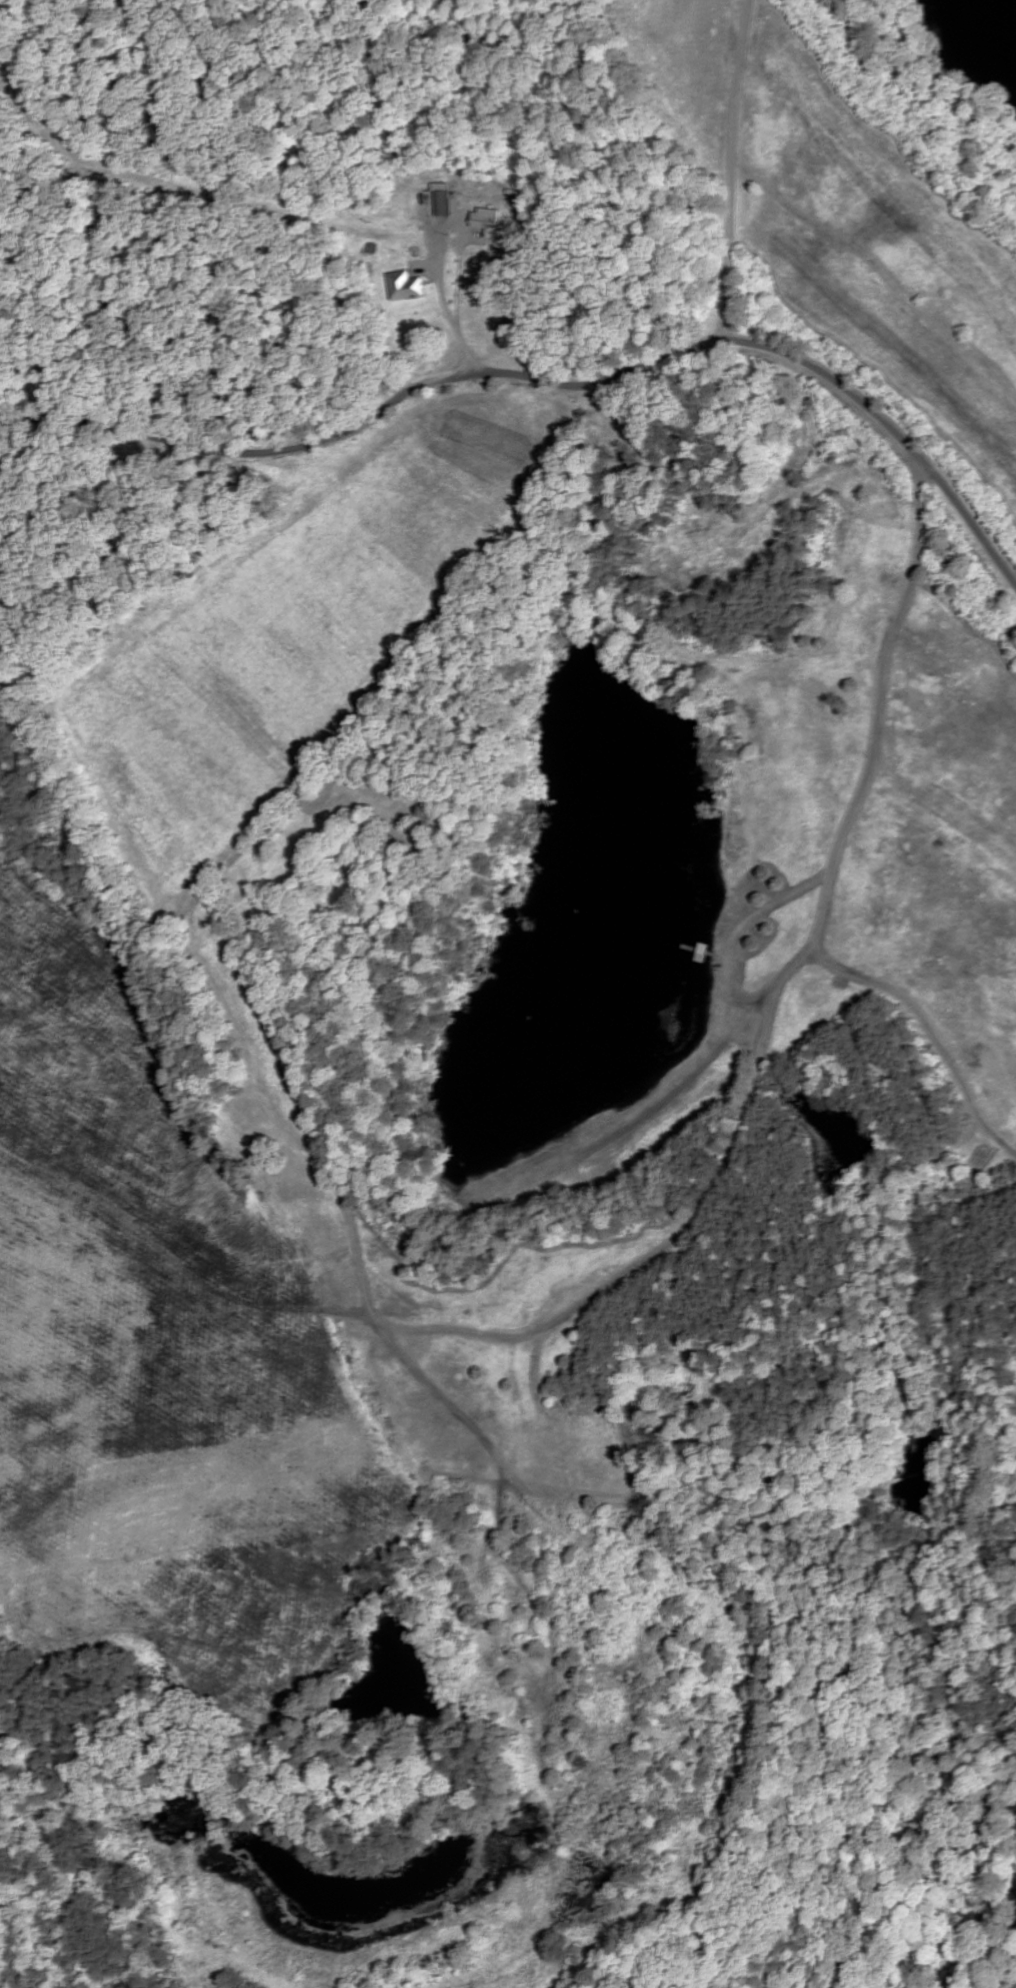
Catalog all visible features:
road: (742, 130)
building: (440, 201)
building: (484, 223)
building: (401, 287)
road: (727, 301)
road: (461, 335)
road: (368, 421)
road: (893, 430)
road: (835, 846)
road: (492, 1332)

